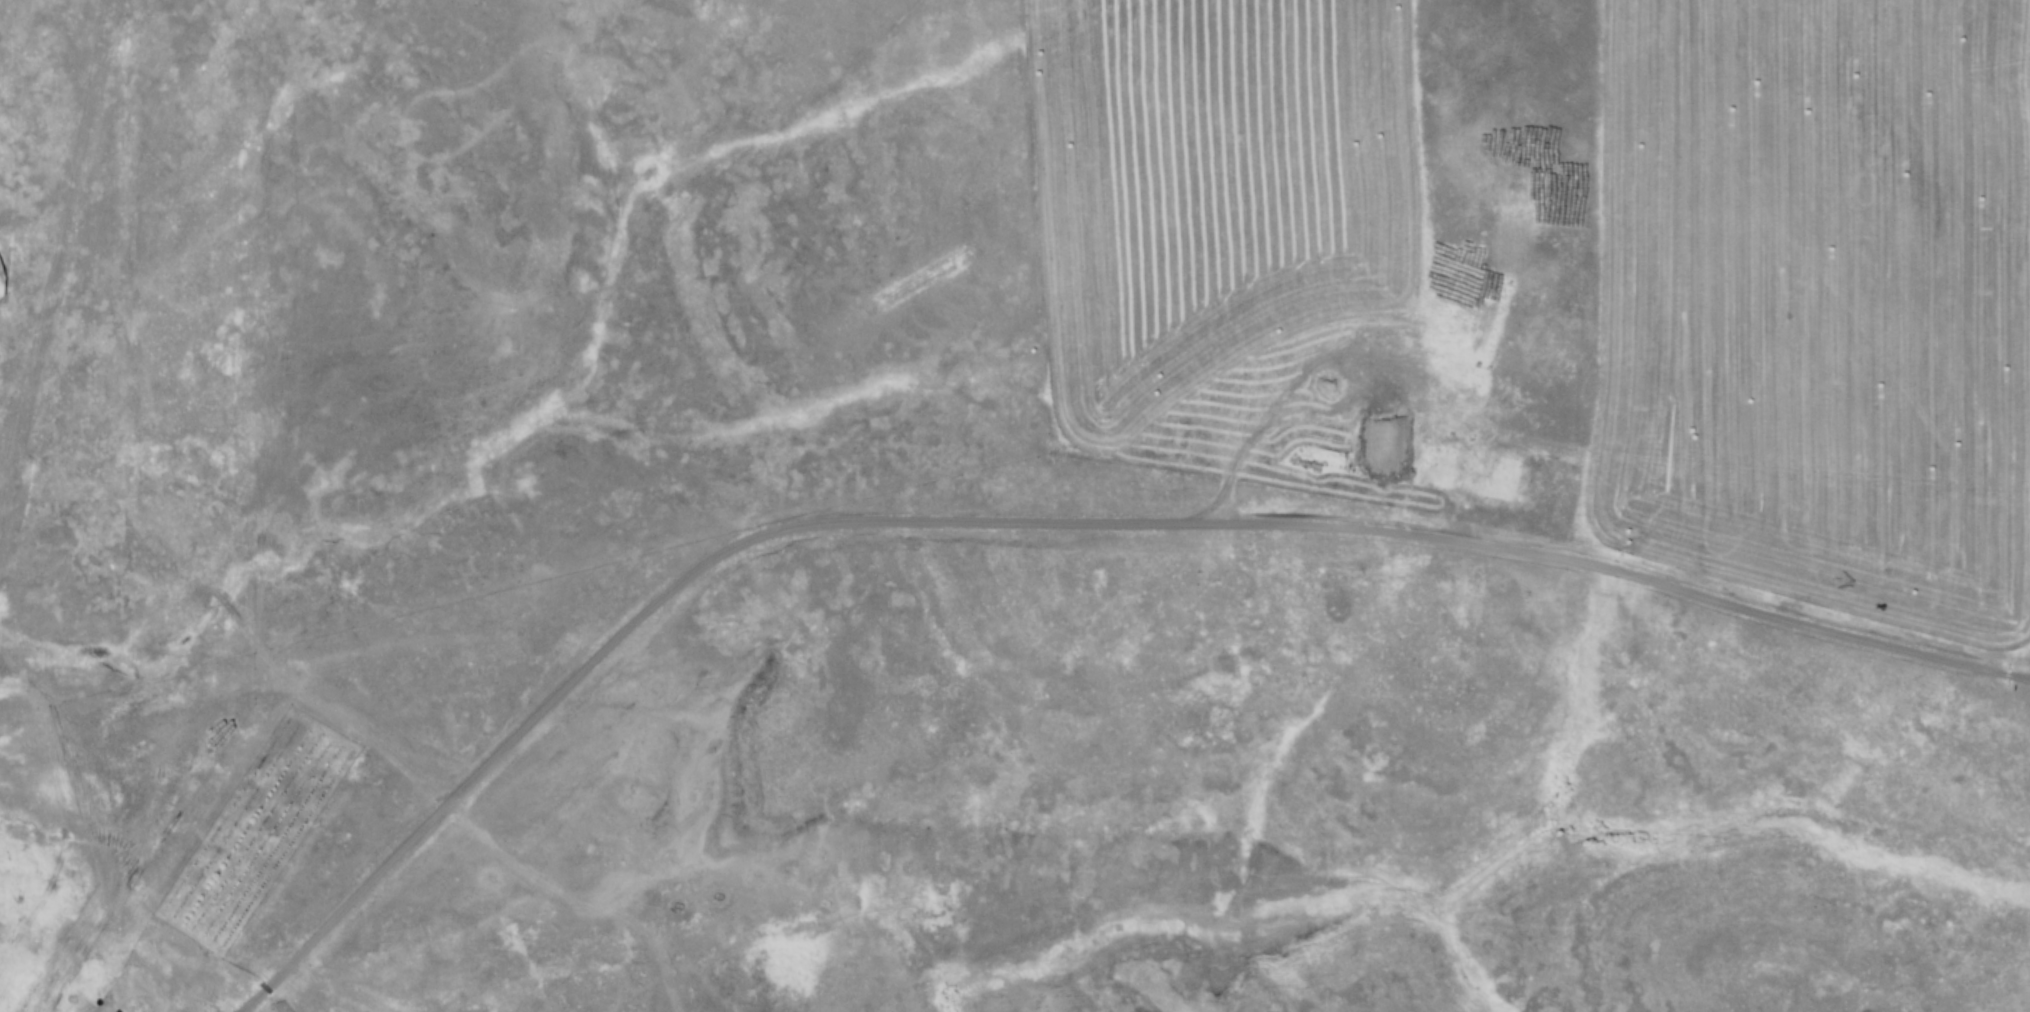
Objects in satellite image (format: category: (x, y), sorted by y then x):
building: (1697, 100)
road: (47, 345)
road: (1051, 521)
building: (135, 1004)
building: (155, 1010)

